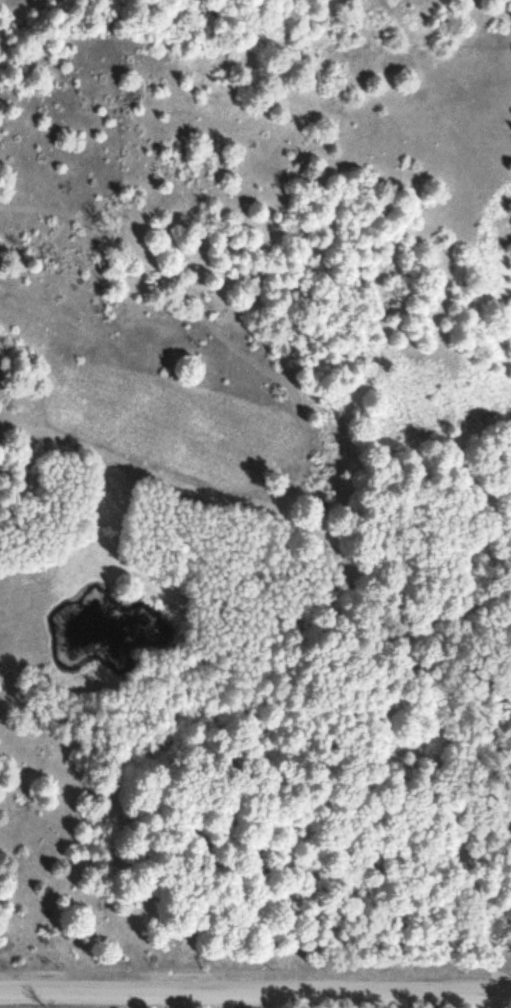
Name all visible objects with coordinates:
road: (255, 989)

